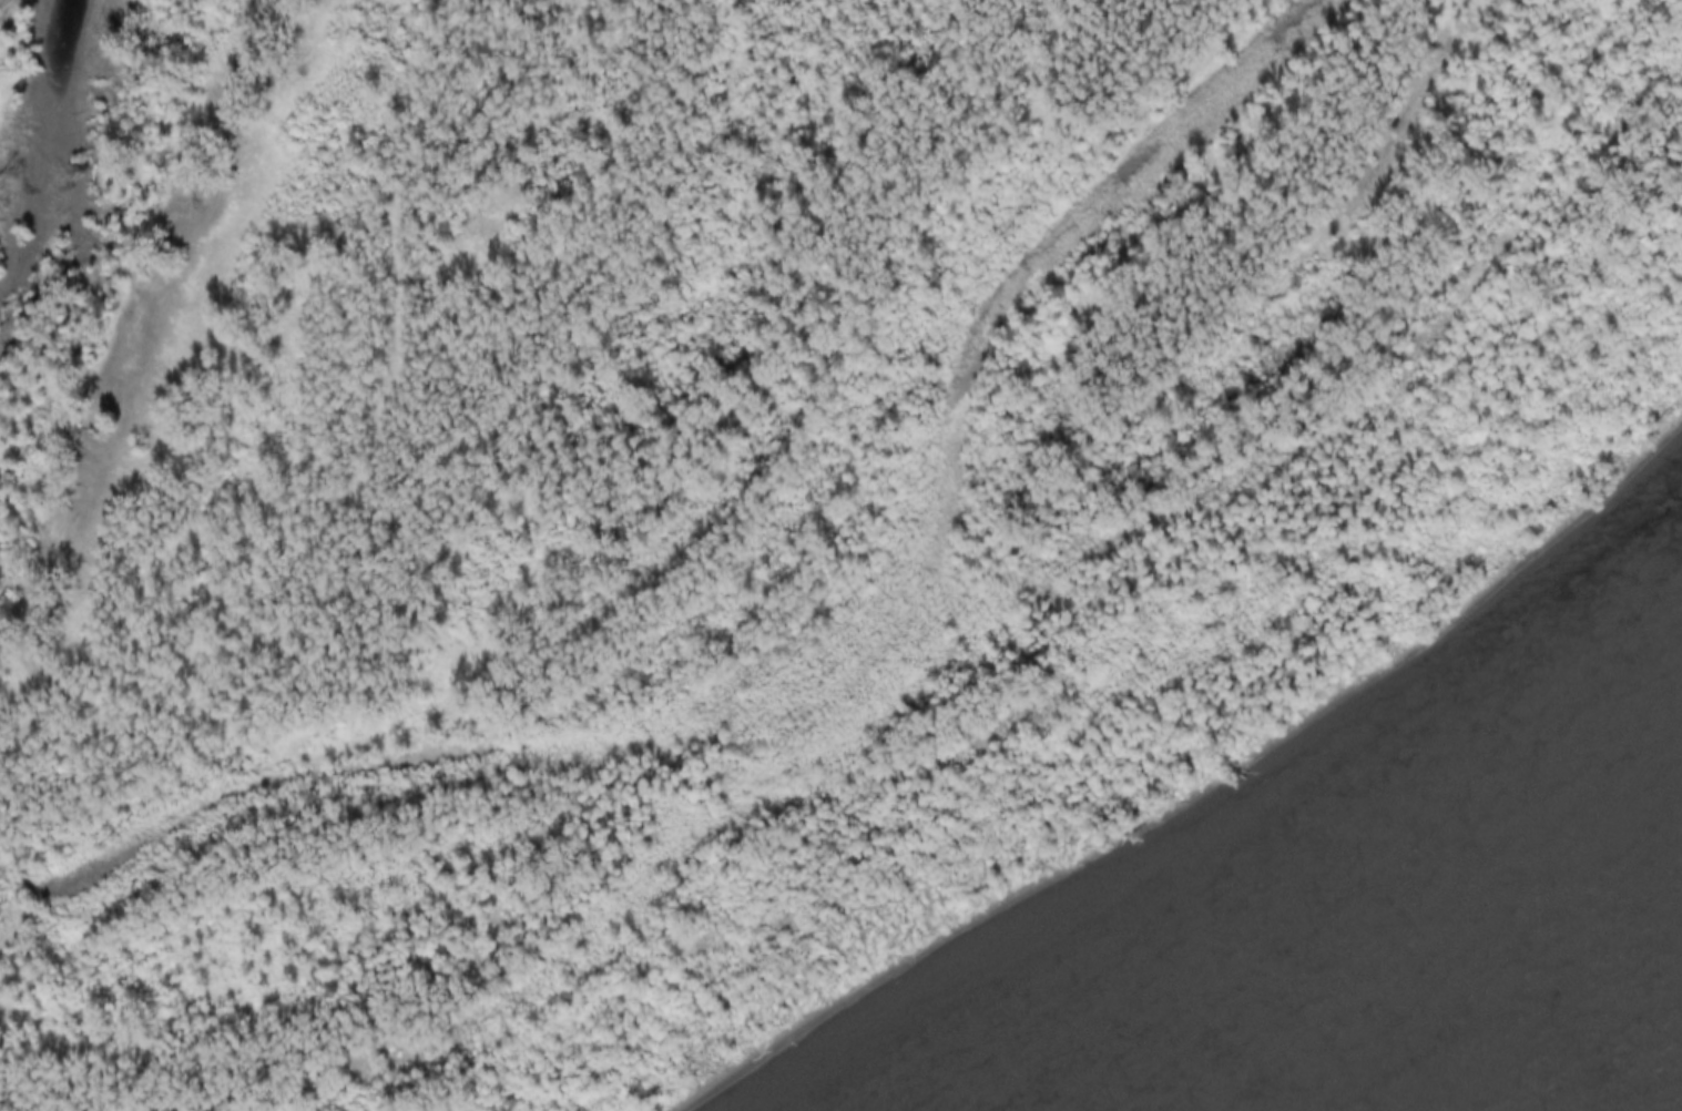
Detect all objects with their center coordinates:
river: (1411, 899)

